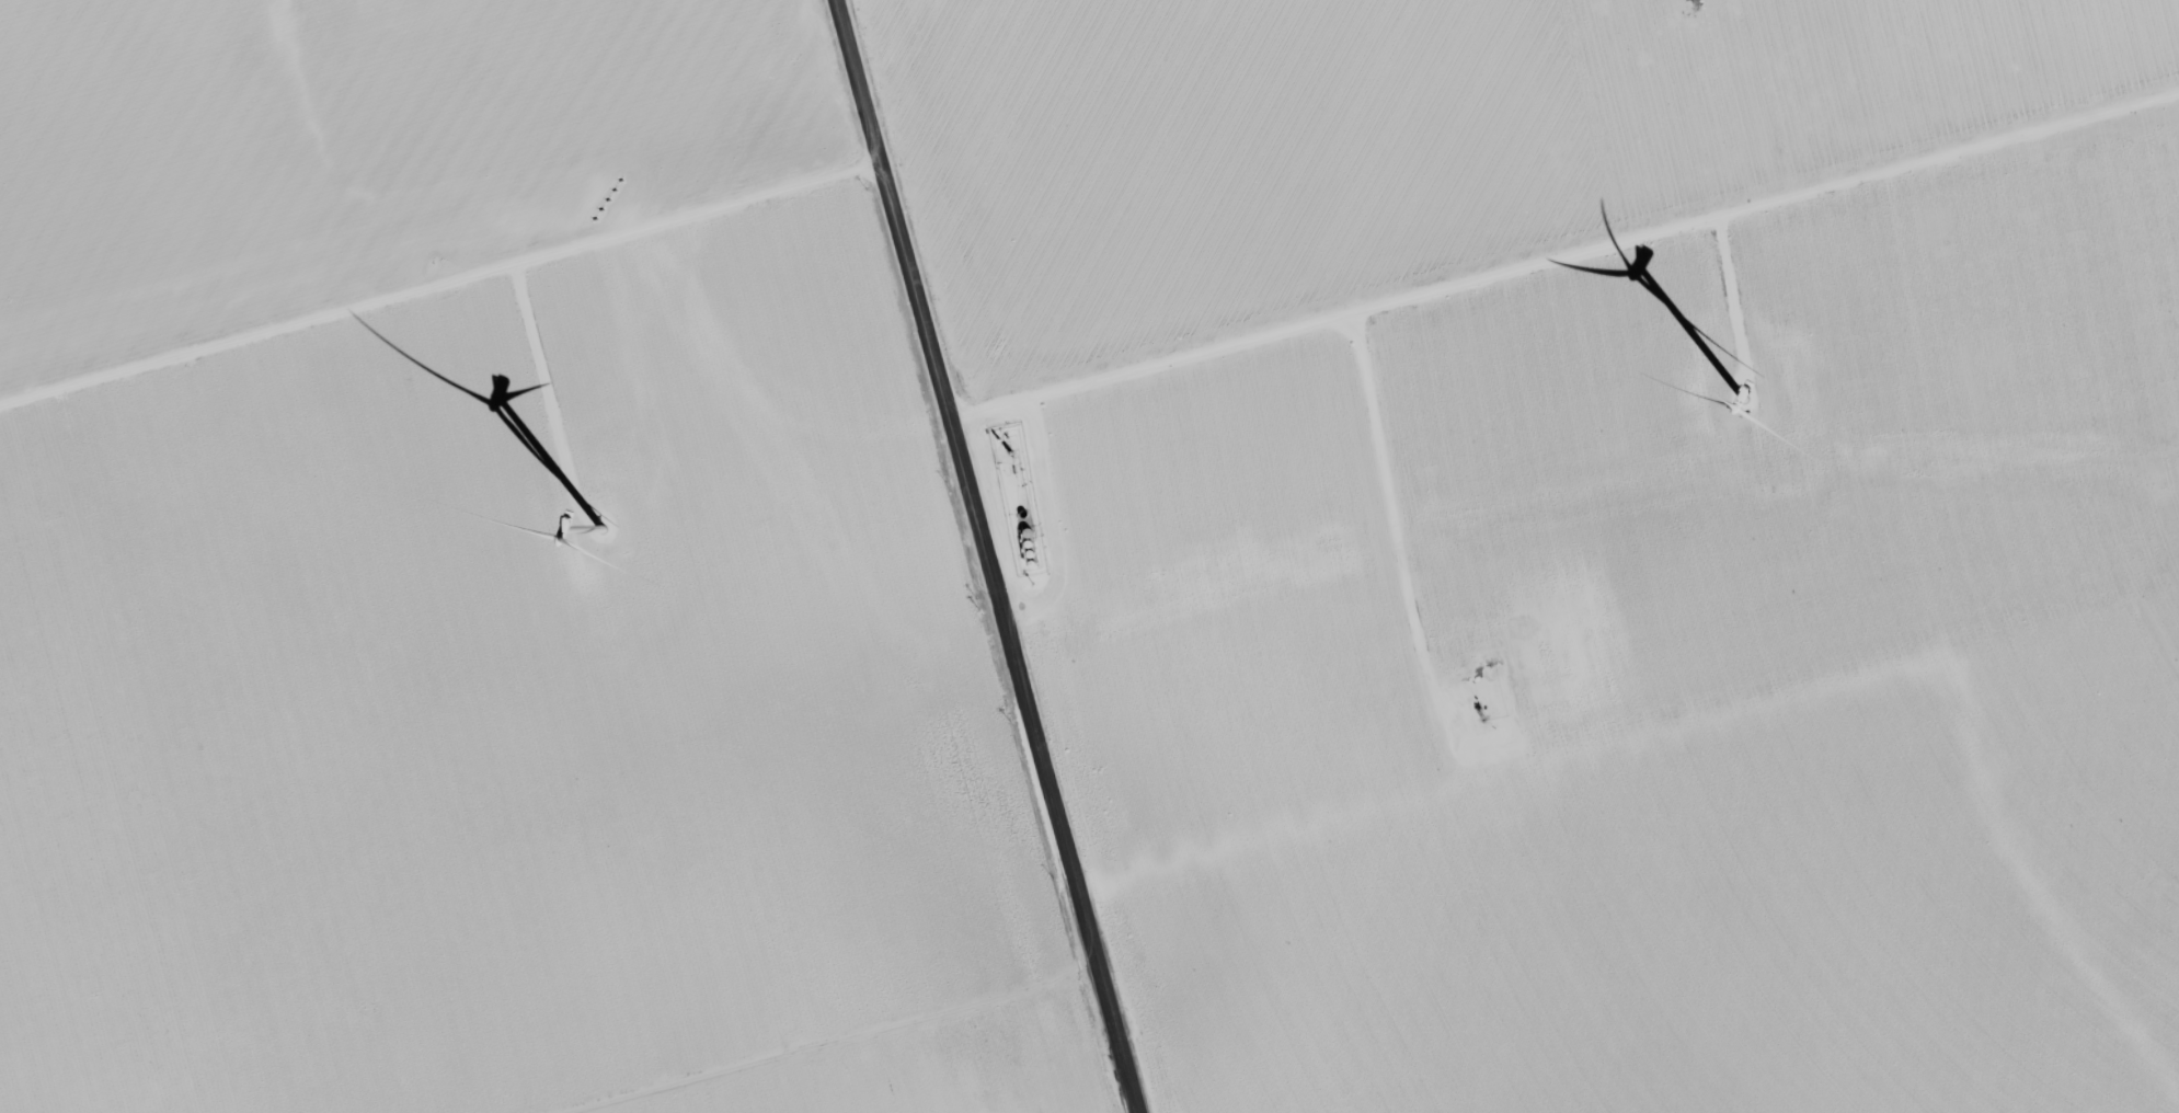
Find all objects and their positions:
wind turbine: (1730, 398)
wind turbine: (596, 538)
road: (989, 555)
road: (1742, 751)

